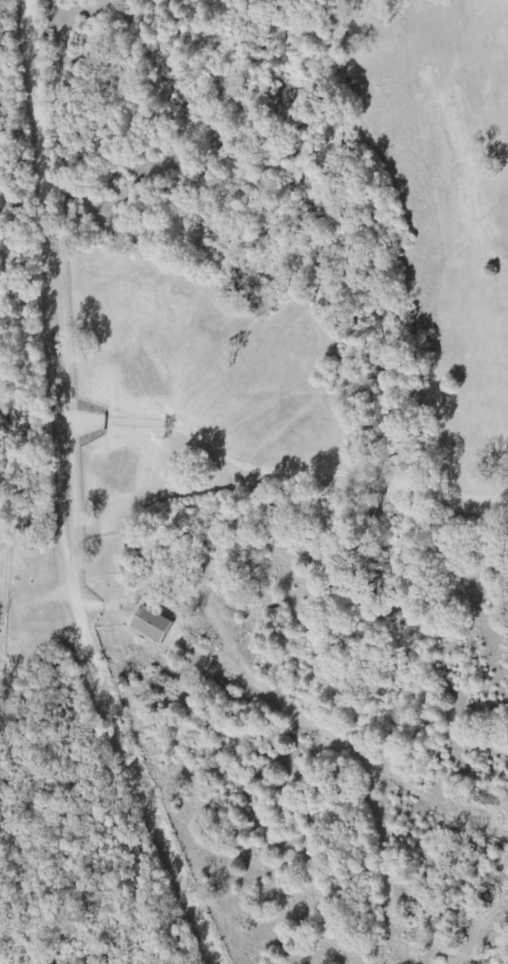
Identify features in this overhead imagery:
road: (65, 491)
park: (3, 604)
building: (153, 626)
road: (121, 879)

